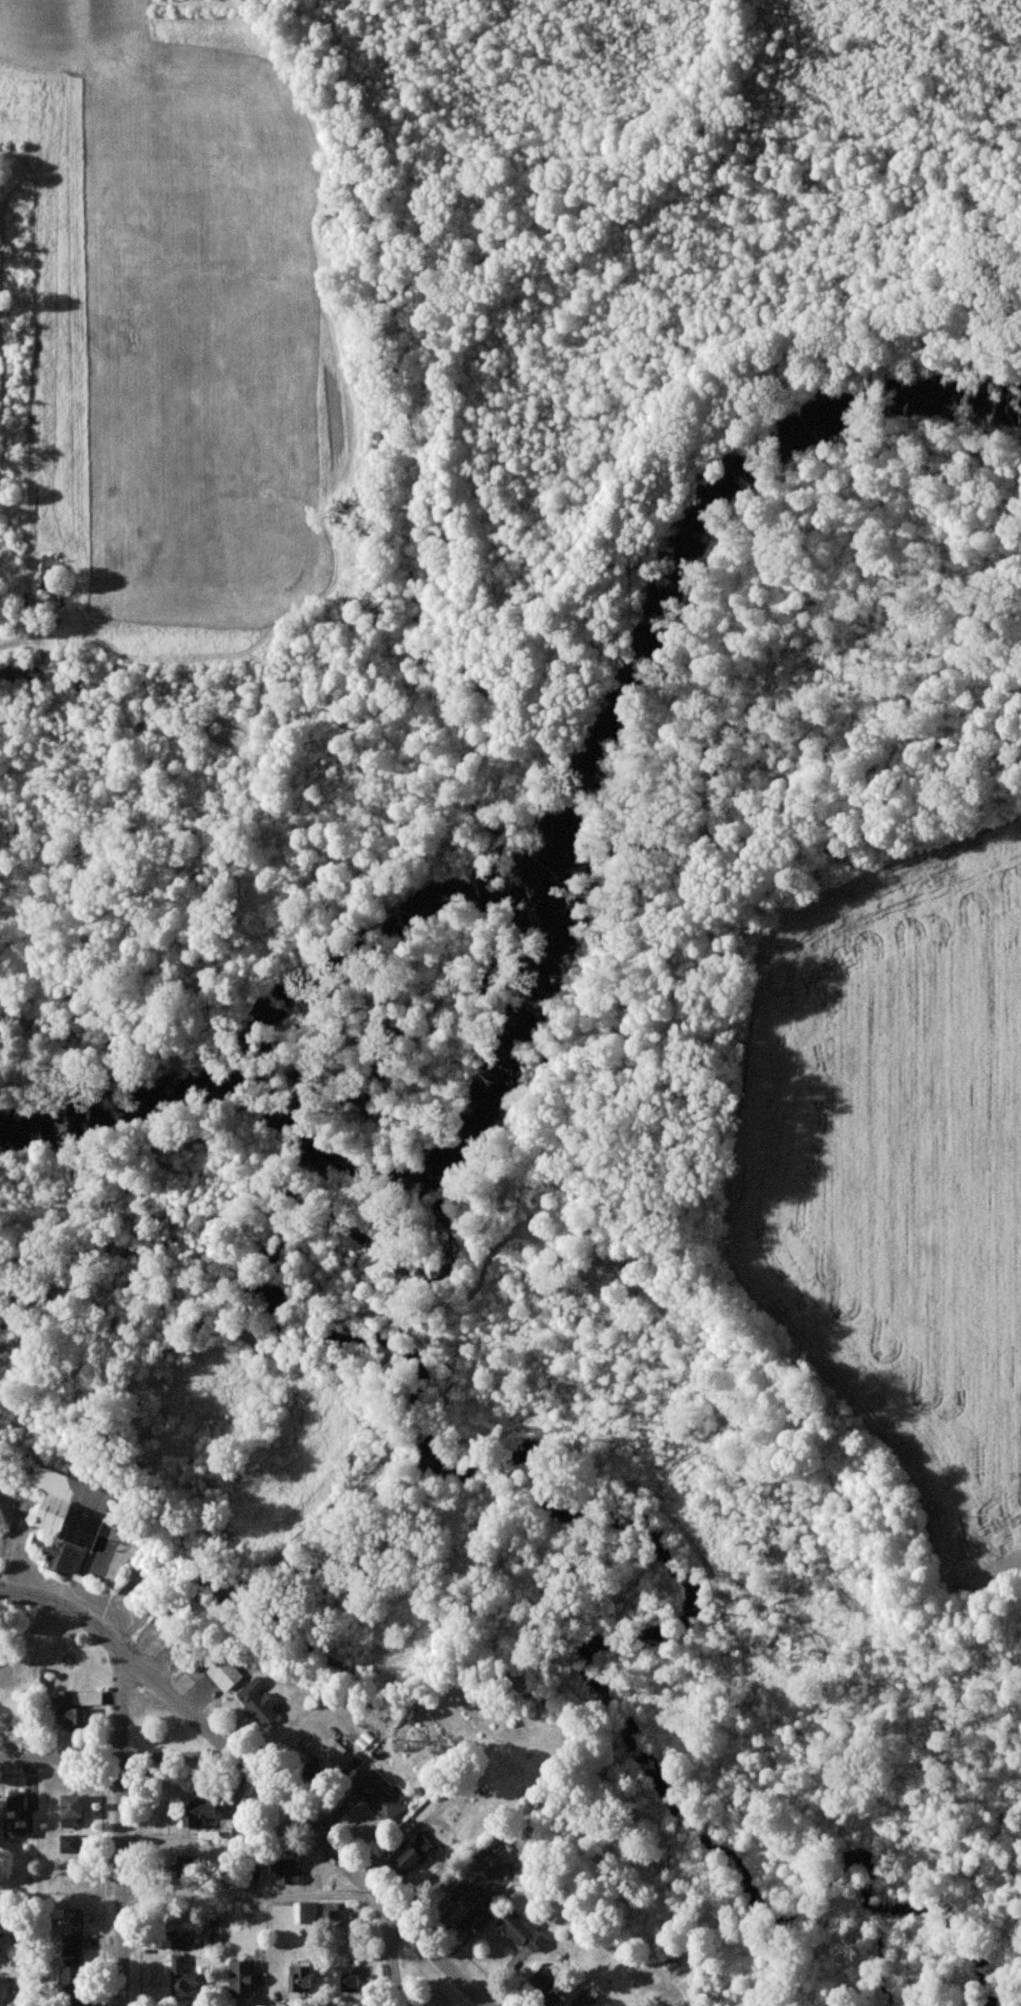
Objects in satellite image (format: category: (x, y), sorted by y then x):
building: (48, 560)
building: (19, 675)
river: (556, 892)
building: (81, 1529)
road: (66, 1610)
building: (179, 1650)
building: (226, 1673)
building: (259, 1701)
building: (70, 1713)
road: (118, 1757)
building: (380, 1795)
building: (74, 1811)
building: (200, 1811)
building: (19, 1816)
road: (306, 1825)
road: (120, 1826)
building: (70, 1843)
building: (417, 1854)
building: (289, 1871)
road: (250, 1898)
building: (462, 1909)
building: (332, 1912)
building: (308, 1913)
building: (523, 1930)
building: (73, 1944)
building: (180, 1944)
road: (390, 1952)
building: (183, 1978)
building: (243, 1978)
building: (348, 1978)
building: (302, 1979)
building: (546, 1979)
building: (74, 1980)
building: (7, 1989)
building: (585, 1999)

